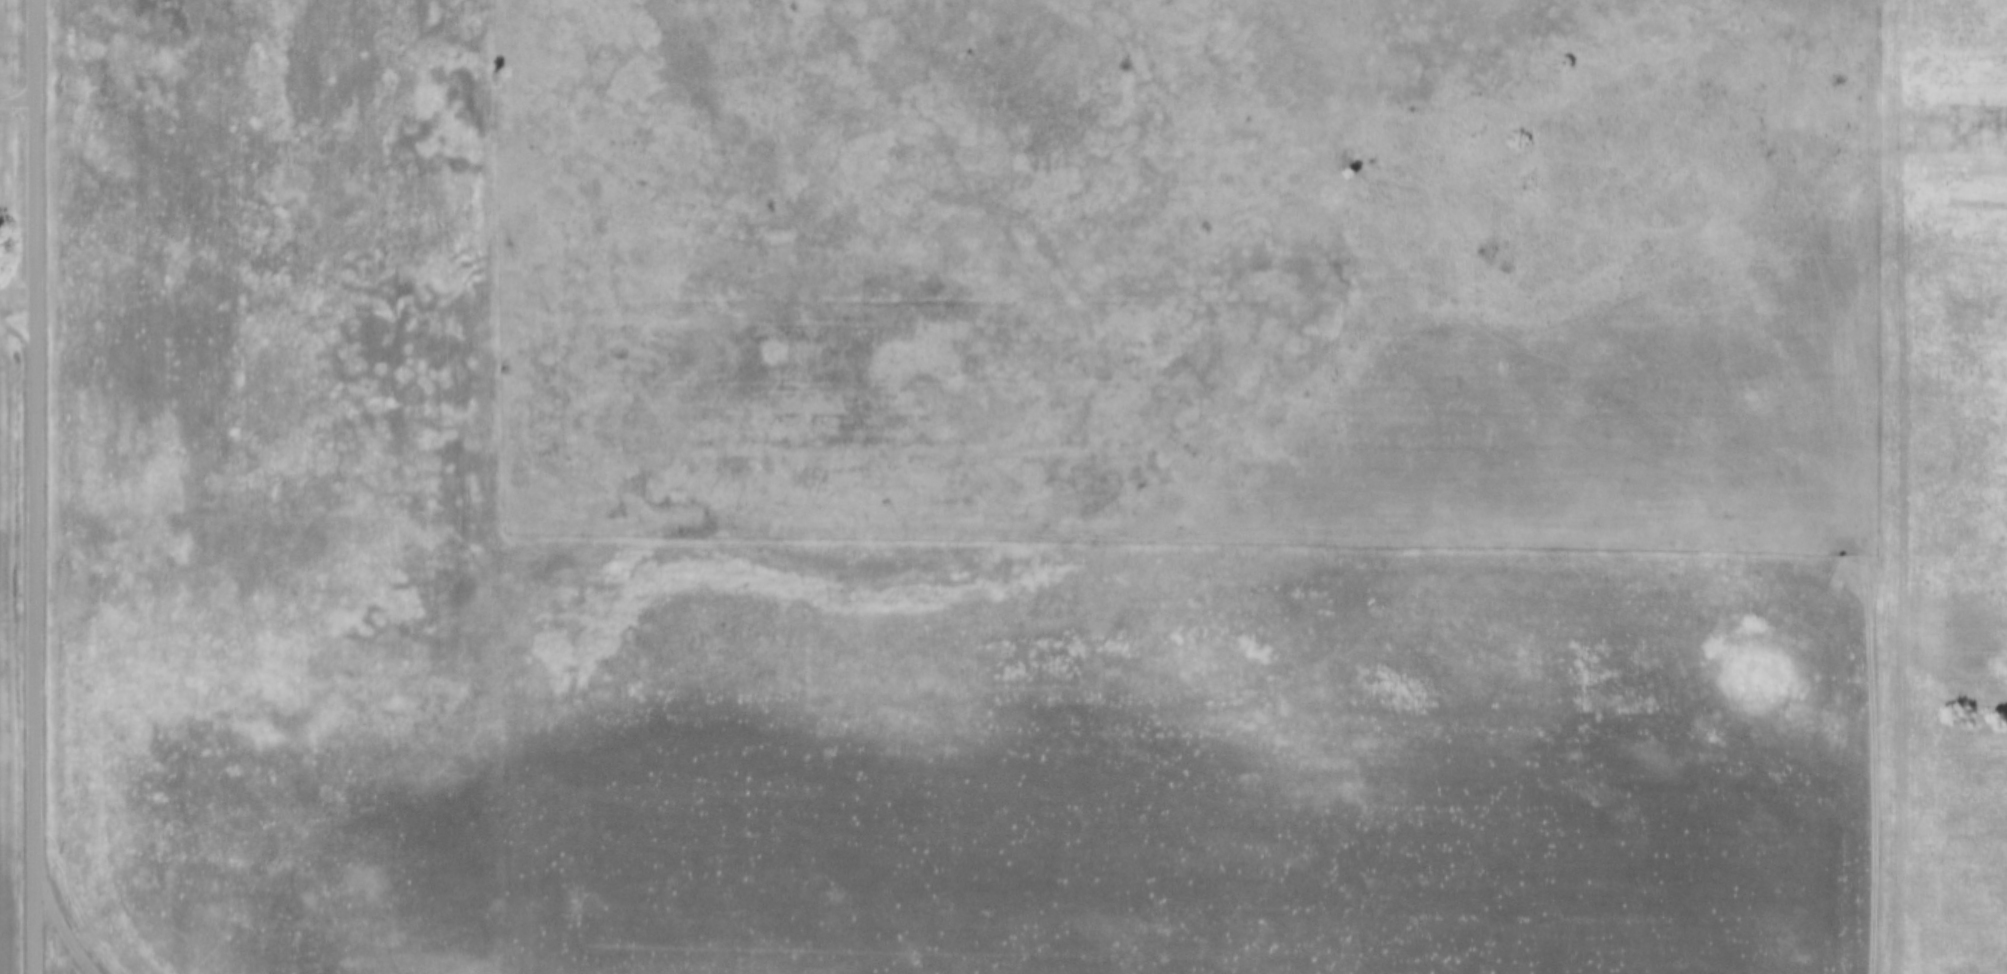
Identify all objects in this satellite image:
road: (17, 101)
road: (35, 487)
road: (56, 925)

